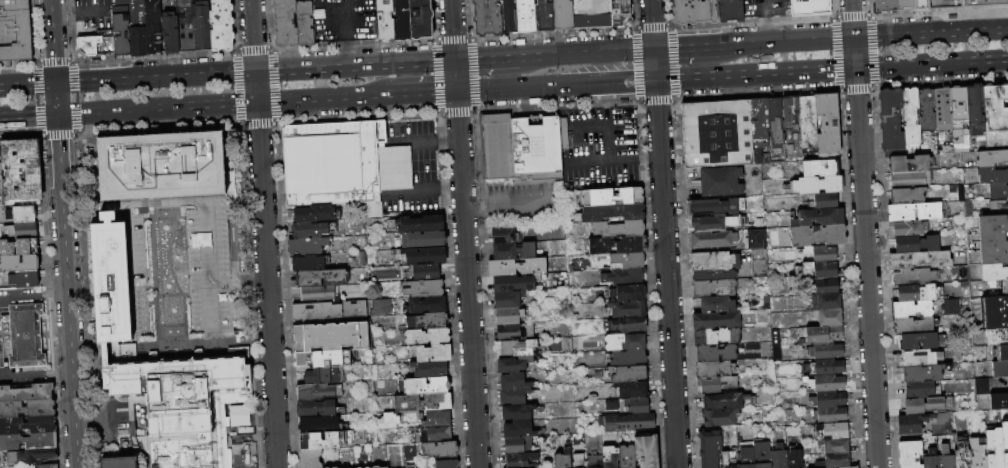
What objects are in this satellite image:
road: (650, 0)
building: (981, 3)
building: (902, 4)
building: (943, 4)
road: (764, 6)
building: (884, 6)
building: (919, 6)
building: (809, 8)
building: (729, 10)
road: (92, 12)
building: (694, 12)
road: (64, 13)
building: (619, 13)
building: (589, 14)
building: (524, 15)
building: (543, 15)
building: (561, 15)
building: (486, 17)
building: (507, 17)
building: (419, 19)
road: (851, 19)
road: (345, 20)
building: (384, 20)
building: (400, 20)
parking lot: (345, 21)
building: (284, 23)
building: (304, 24)
building: (184, 25)
building: (200, 26)
building: (220, 26)
building: (120, 27)
building: (152, 27)
building: (137, 28)
road: (765, 28)
building: (14, 31)
building: (169, 32)
road: (930, 34)
road: (251, 36)
road: (653, 39)
traffic signals: (853, 39)
road: (52, 42)
road: (792, 42)
building: (90, 43)
road: (725, 46)
road: (685, 48)
traffic signals: (654, 50)
road: (596, 53)
road: (854, 53)
road: (346, 54)
road: (528, 58)
road: (485, 60)
traffic signals: (454, 62)
road: (931, 63)
road: (354, 67)
traffic signals: (855, 68)
road: (795, 71)
traffic signals: (254, 73)
road: (695, 77)
road: (154, 79)
traffic signals: (655, 79)
road: (622, 80)
road: (561, 84)
traffic signals: (55, 85)
road: (27, 86)
road: (254, 87)
road: (493, 88)
traffic signals: (455, 91)
road: (424, 92)
road: (604, 95)
road: (324, 98)
road: (55, 99)
traffic signals: (255, 102)
road: (155, 108)
building: (790, 109)
building: (943, 110)
building: (975, 111)
road: (27, 114)
traffic signals: (56, 114)
road: (657, 114)
building: (911, 116)
building: (995, 118)
building: (928, 120)
building: (959, 120)
building: (890, 121)
building: (808, 123)
building: (827, 124)
building: (775, 126)
building: (759, 131)
building: (715, 133)
road: (606, 134)
road: (447, 141)
road: (417, 143)
building: (520, 148)
building: (992, 159)
road: (617, 160)
building: (910, 164)
building: (330, 165)
building: (161, 166)
building: (822, 167)
road: (100, 169)
building: (395, 169)
building: (21, 174)
building: (993, 175)
building: (910, 179)
building: (720, 183)
building: (816, 185)
building: (1, 187)
road: (448, 187)
building: (998, 192)
road: (410, 195)
road: (163, 196)
building: (908, 196)
building: (613, 197)
building: (823, 201)
road: (520, 203)
road: (164, 204)
road: (477, 207)
building: (715, 208)
building: (917, 212)
building: (613, 213)
building: (316, 214)
building: (24, 215)
road: (176, 215)
building: (817, 218)
building: (420, 224)
building: (710, 224)
building: (993, 226)
building: (619, 229)
building: (910, 229)
building: (309, 231)
building: (25, 232)
road: (463, 233)
building: (504, 236)
building: (818, 236)
building: (753, 239)
building: (423, 240)
building: (713, 240)
road: (203, 242)
road: (232, 242)
building: (916, 244)
building: (618, 246)
building: (27, 247)
building: (307, 247)
building: (993, 247)
building: (514, 252)
building: (820, 254)
building: (424, 257)
building: (919, 260)
building: (626, 261)
building: (19, 264)
building: (308, 264)
building: (714, 266)
building: (517, 267)
road: (153, 268)
road: (866, 268)
building: (994, 269)
road: (131, 271)
building: (818, 271)
road: (146, 273)
building: (426, 273)
building: (624, 277)
road: (174, 278)
building: (914, 278)
building: (321, 279)
building: (25, 280)
road: (235, 280)
building: (110, 281)
building: (517, 283)
road: (265, 285)
building: (826, 287)
building: (714, 288)
building: (1005, 288)
building: (424, 289)
road: (66, 290)
road: (131, 290)
road: (111, 291)
road: (80, 293)
building: (919, 293)
building: (317, 294)
building: (628, 294)
road: (52, 296)
road: (168, 296)
road: (19, 298)
building: (508, 300)
building: (824, 302)
building: (427, 305)
building: (716, 305)
road: (207, 307)
building: (378, 307)
road: (668, 308)
building: (911, 309)
building: (626, 310)
building: (329, 311)
building: (995, 313)
building: (508, 316)
building: (829, 318)
building: (715, 321)
building: (427, 322)
road: (169, 325)
building: (628, 325)
building: (914, 326)
building: (513, 332)
road: (214, 335)
building: (820, 335)
building: (427, 337)
building: (716, 337)
building: (996, 337)
building: (23, 338)
road: (204, 338)
building: (332, 338)
building: (576, 342)
building: (626, 342)
building: (920, 342)
building: (518, 349)
building: (827, 352)
building: (997, 353)
building: (434, 354)
building: (715, 354)
building: (629, 358)
building: (921, 358)
building: (324, 359)
building: (514, 365)
building: (825, 368)
building: (430, 370)
building: (716, 370)
building: (1000, 370)
road: (58, 372)
building: (923, 373)
road: (23, 374)
building: (628, 374)
building: (324, 376)
building: (515, 383)
building: (826, 384)
building: (716, 385)
building: (427, 386)
building: (631, 390)
building: (922, 390)
building: (317, 393)
building: (27, 394)
building: (516, 397)
building: (829, 400)
building: (725, 402)
building: (999, 402)
building: (423, 403)
building: (186, 404)
building: (609, 405)
building: (637, 406)
building: (928, 406)
building: (27, 409)
building: (309, 410)
building: (517, 413)
building: (237, 415)
building: (830, 416)
building: (719, 417)
building: (437, 419)
building: (385, 421)
building: (627, 423)
road: (113, 424)
building: (913, 424)
building: (27, 425)
building: (318, 425)
road: (86, 431)
building: (518, 431)
building: (832, 432)
building: (439, 433)
building: (325, 441)
building: (28, 442)
building: (1005, 443)
building: (925, 445)
building: (518, 446)
building: (835, 447)
building: (994, 447)
building: (711, 449)
building: (439, 450)
building: (646, 451)
building: (978, 452)
building: (910, 454)
building: (762, 455)
building: (962, 455)
building: (36, 456)
building: (611, 457)
building: (627, 457)
building: (779, 457)
road: (235, 458)
building: (730, 458)
building: (747, 458)
building: (795, 458)
building: (946, 458)
building: (310, 459)
building: (563, 460)
building: (931, 460)
building: (521, 461)
building: (837, 461)
building: (118, 462)
building: (579, 462)
building: (447, 464)
building: (596, 464)
building: (47, 466)
building: (375, 467)
building: (850, 467)

